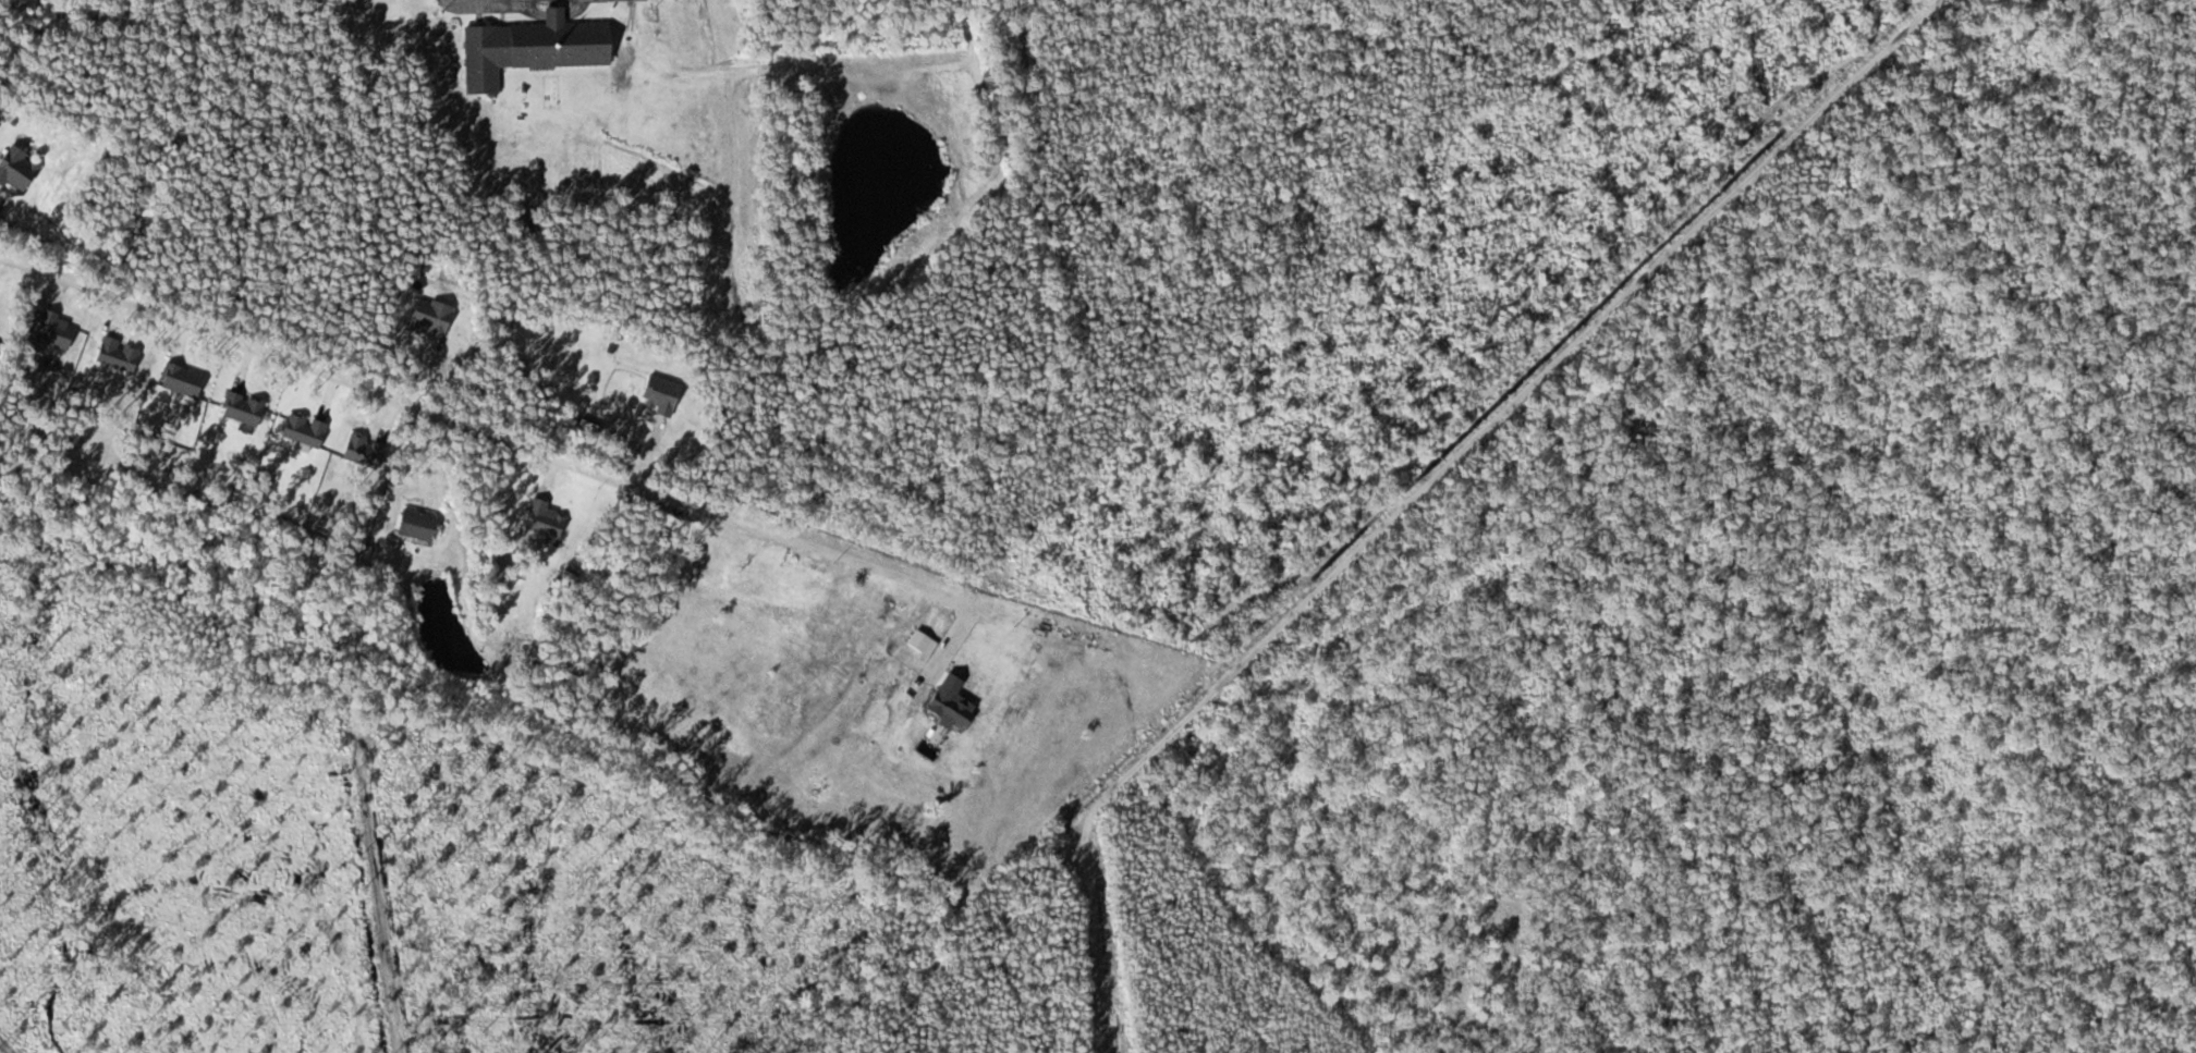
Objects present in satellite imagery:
road: (14, 45)
building: (528, 47)
building: (14, 168)
building: (516, 217)
building: (414, 524)
road: (414, 947)

